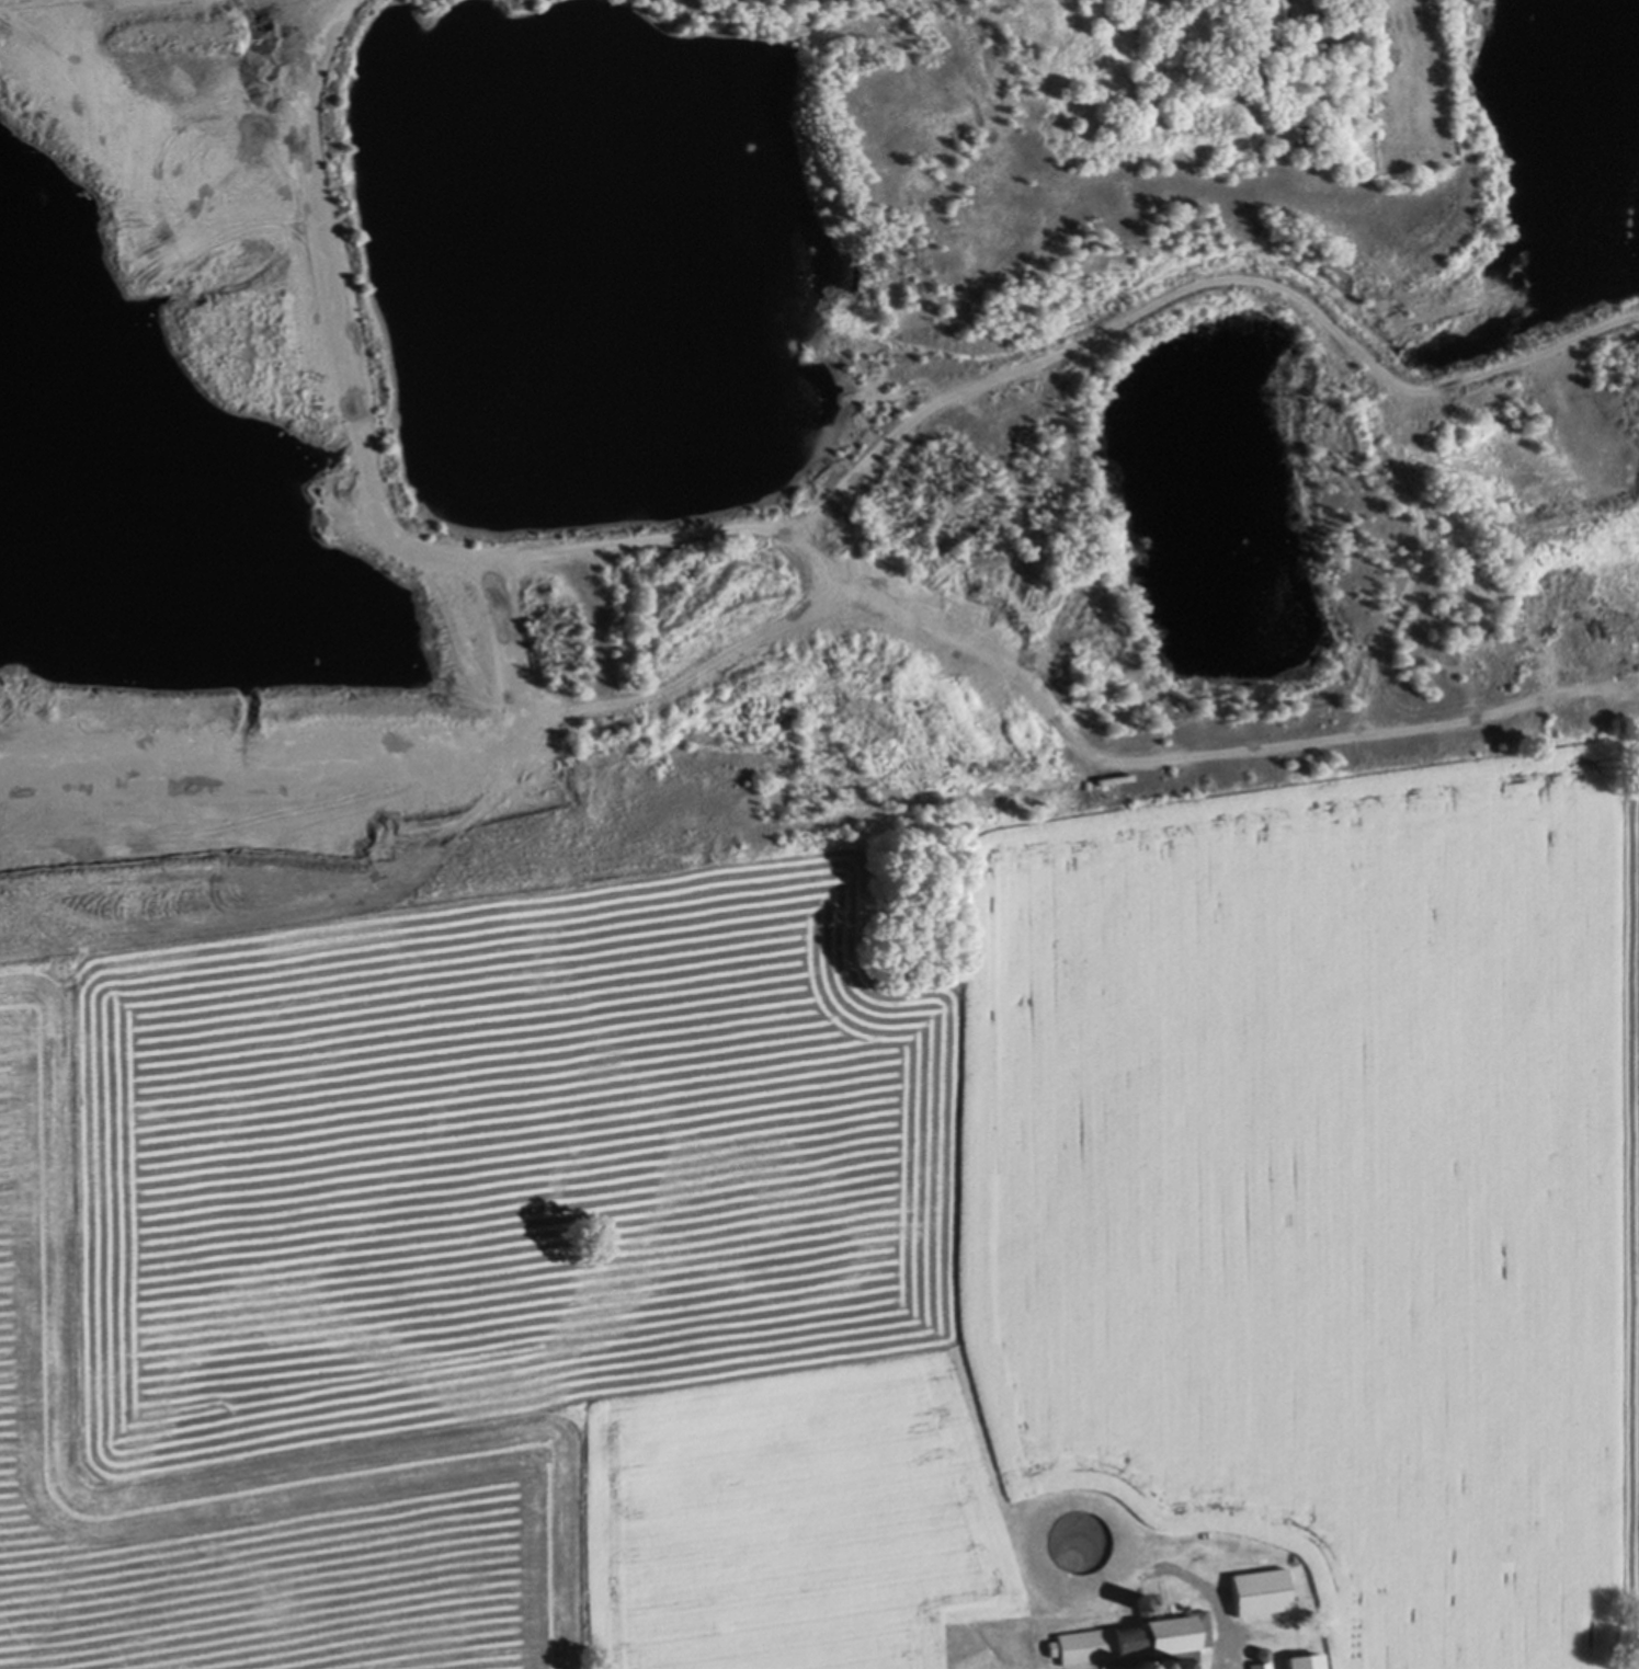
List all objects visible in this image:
building: (1257, 3)
quarry: (815, 401)
building: (1263, 1589)
building: (1146, 1600)
building: (1137, 1639)
building: (1264, 1651)
building: (1306, 1660)
building: (1138, 1664)
building: (1262, 1665)
building: (1157, 1666)

